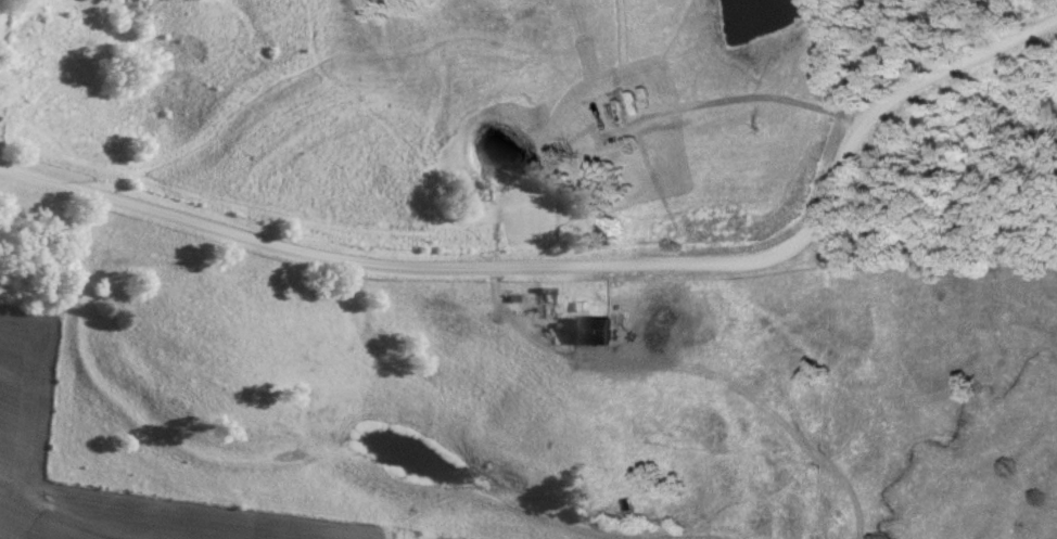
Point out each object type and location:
road: (573, 269)
building: (590, 330)
road: (511, 339)

